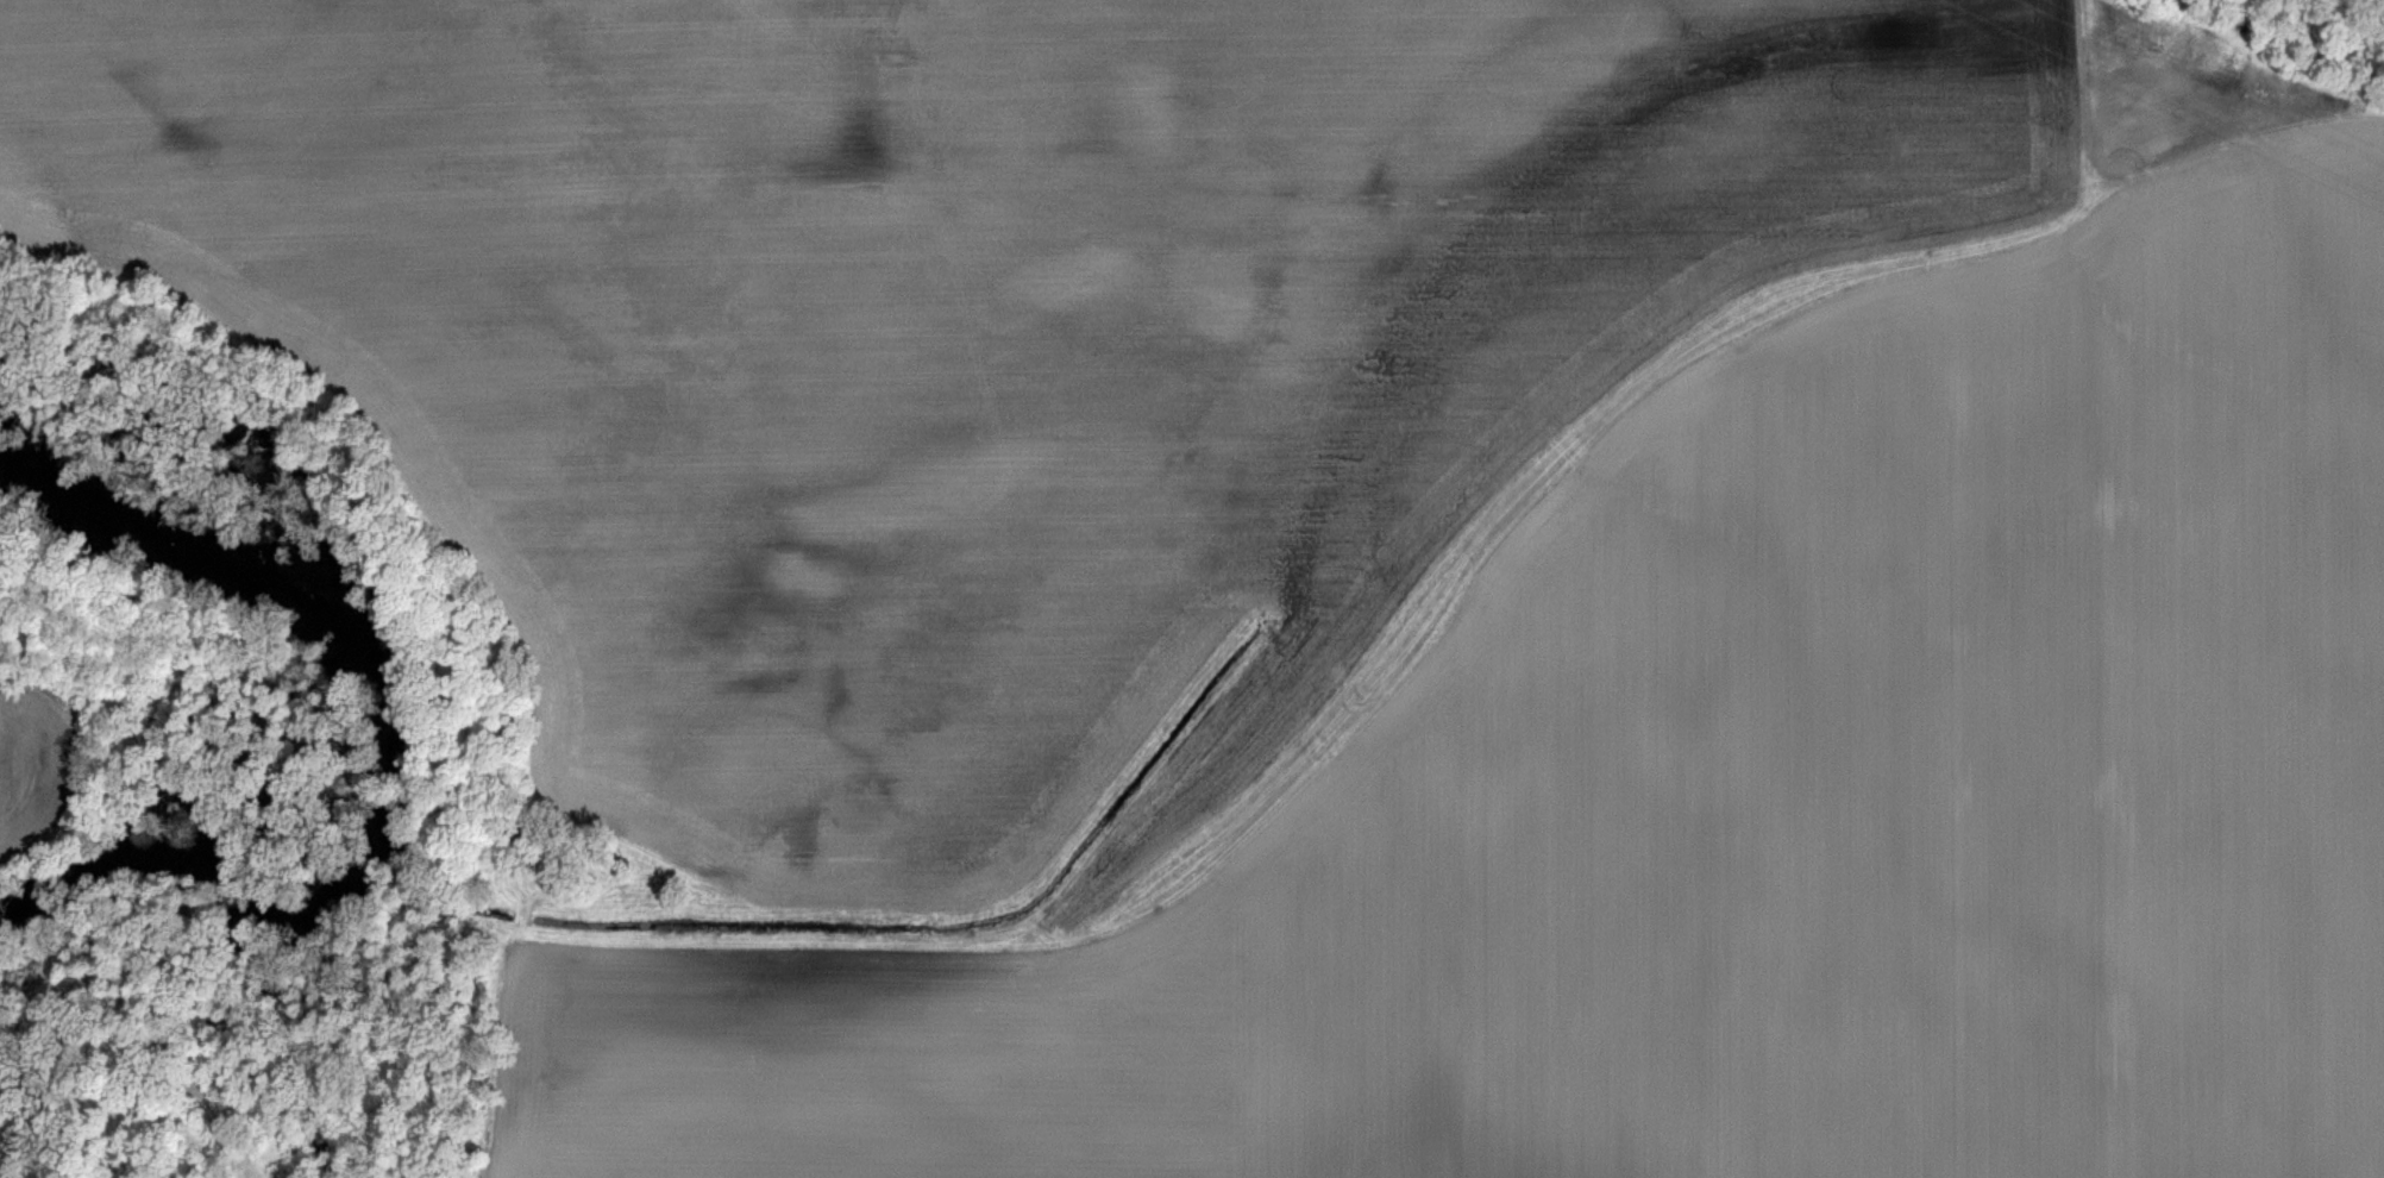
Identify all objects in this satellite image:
river: (382, 756)

